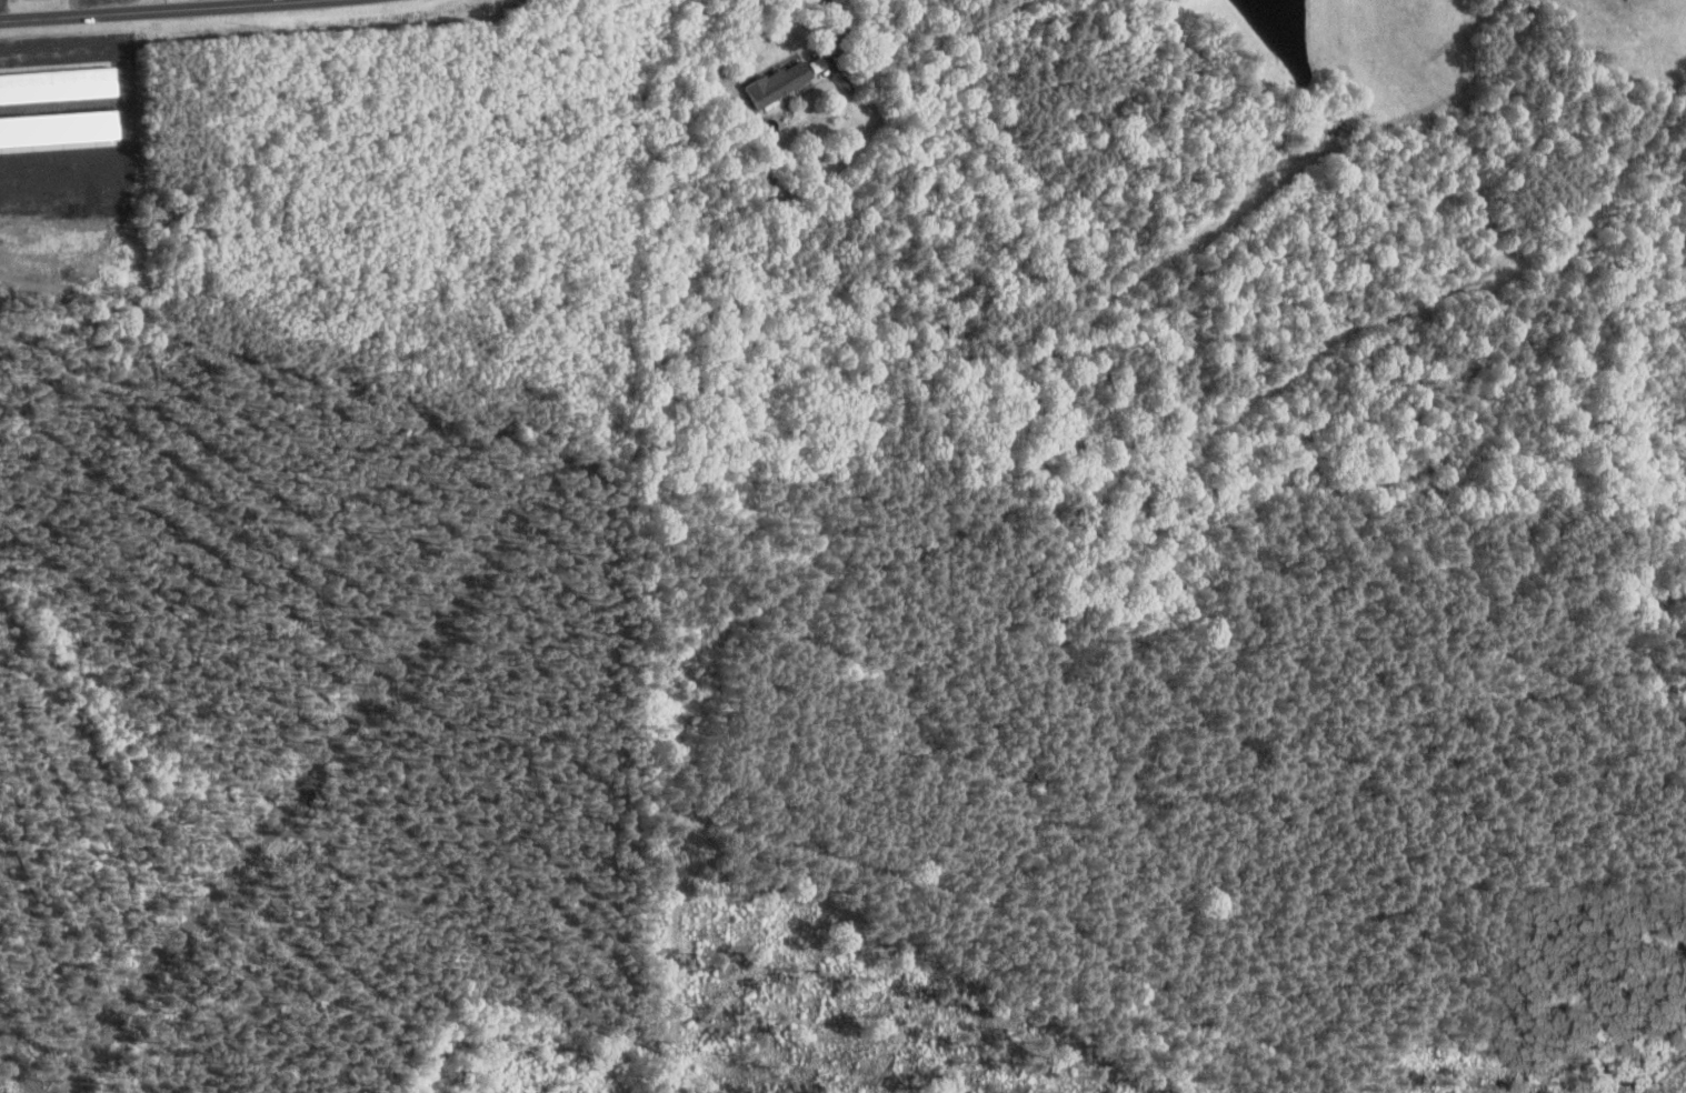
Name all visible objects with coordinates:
road: (156, 9)
road: (835, 27)
building: (771, 82)
building: (52, 84)
building: (54, 131)

